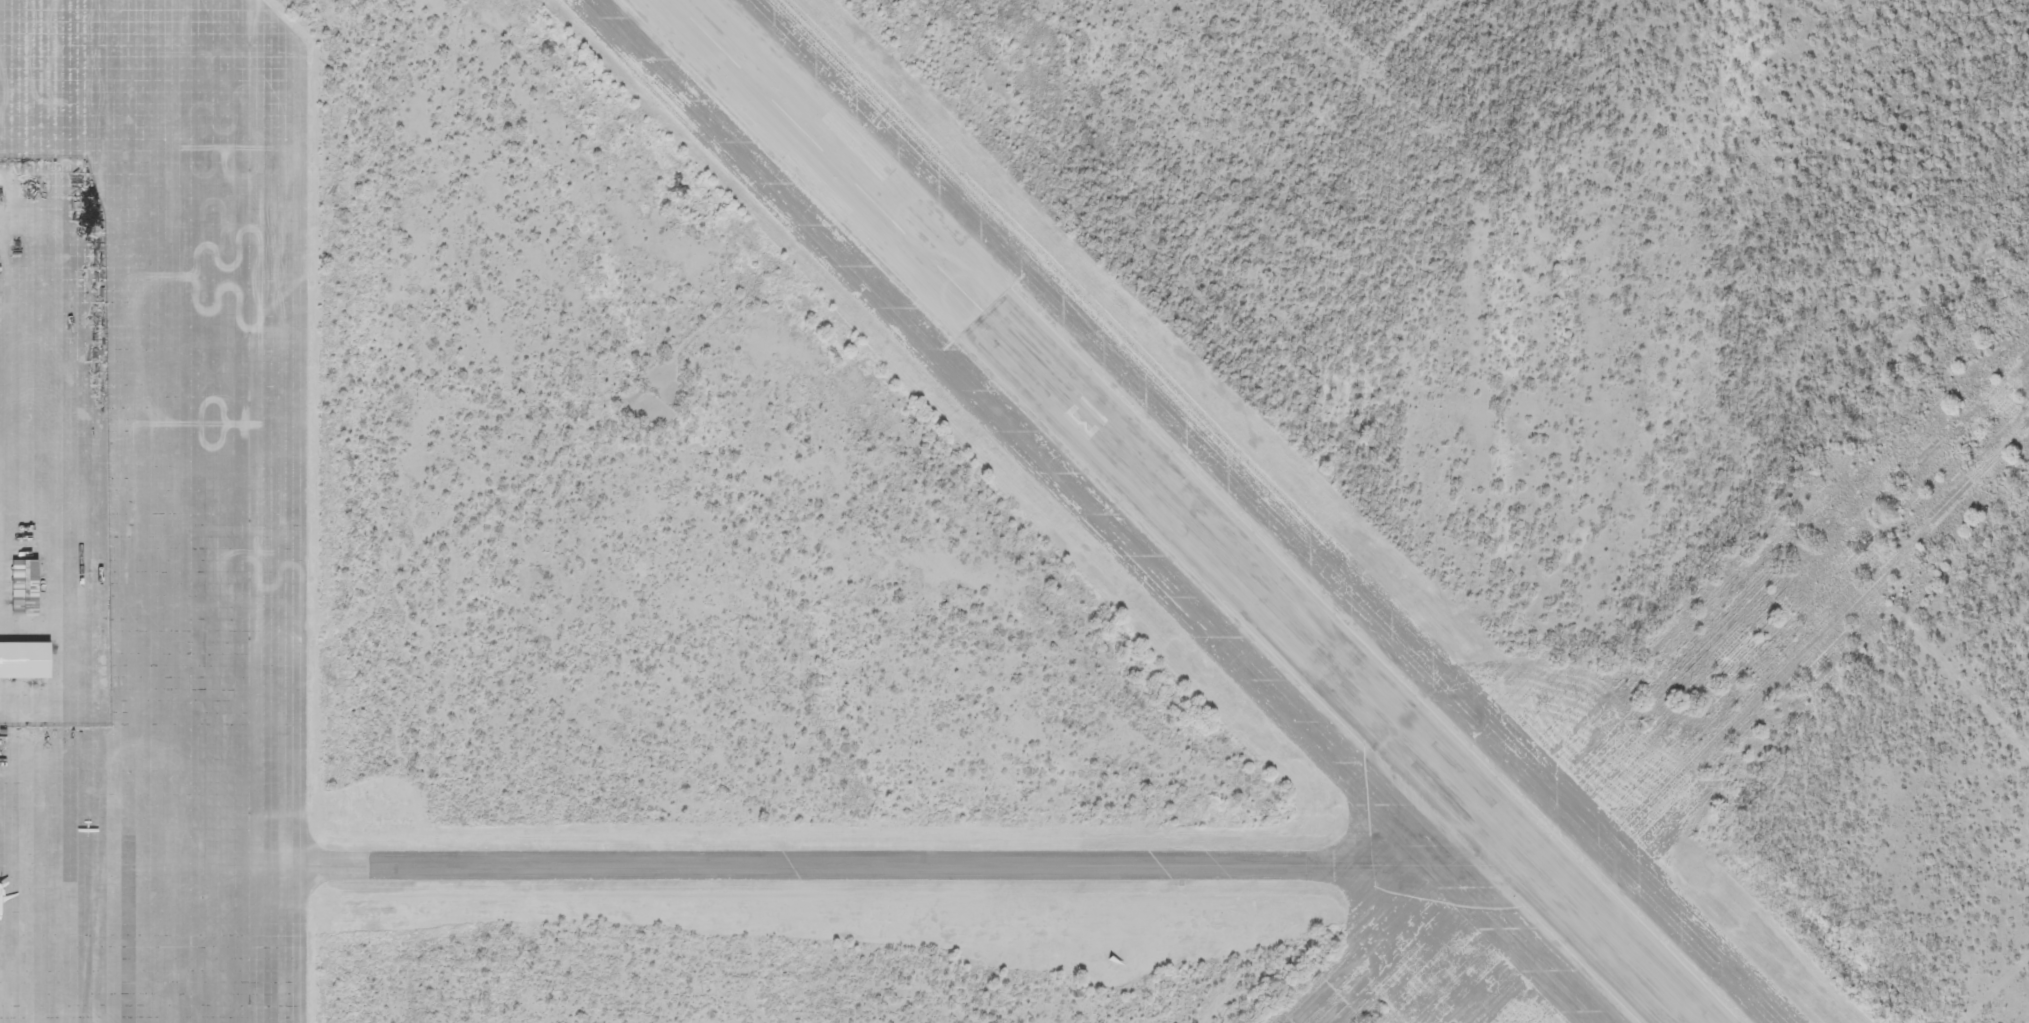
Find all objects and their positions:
building: (15, 18)
airport: (1014, 511)
airport runway: (1179, 511)
airport apron: (157, 512)
building: (22, 588)
airport taxiway: (929, 874)

